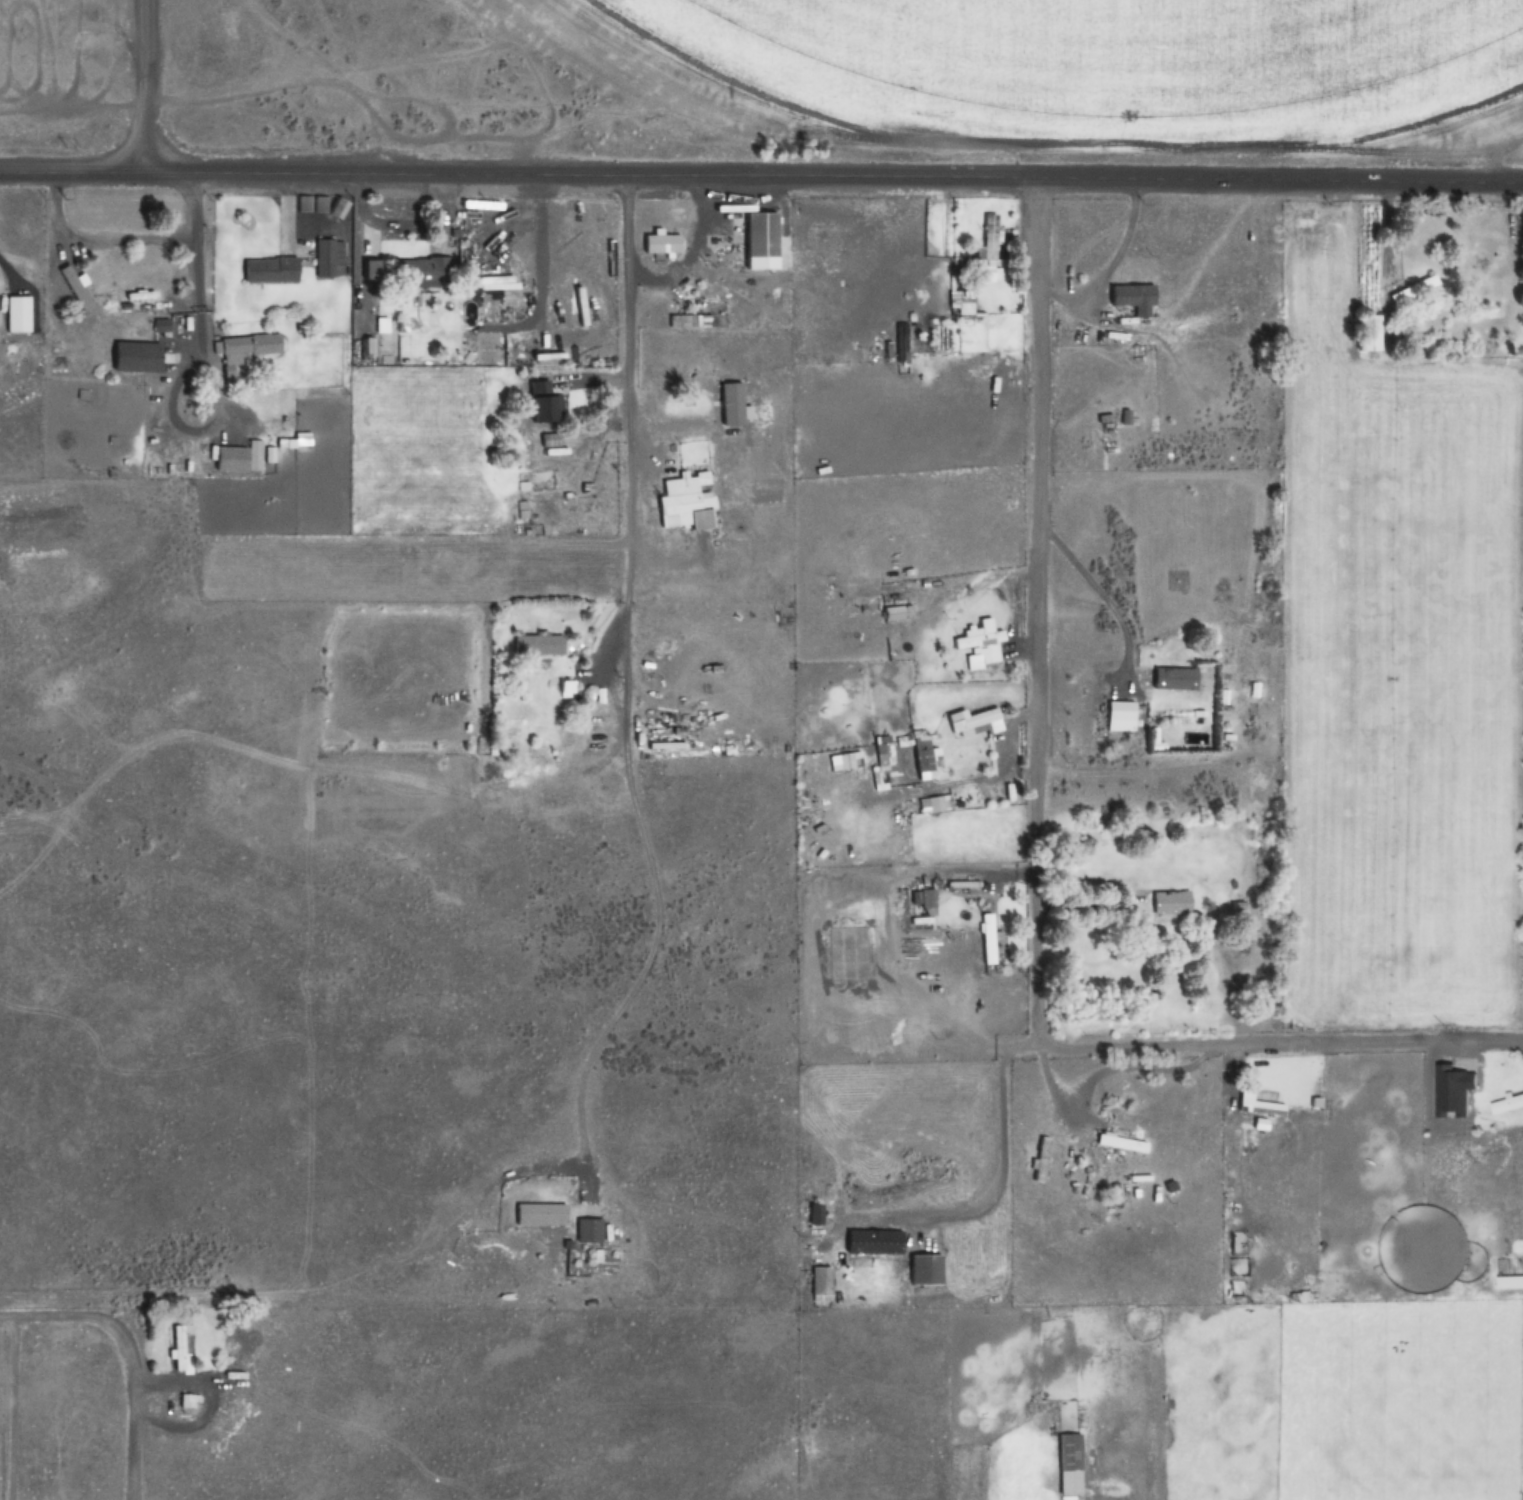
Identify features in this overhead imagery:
crop: (923, 23)
road: (145, 87)
road: (73, 174)
road: (834, 179)
building: (319, 204)
building: (990, 236)
building: (759, 240)
building: (65, 241)
building: (661, 242)
building: (326, 255)
building: (267, 268)
building: (417, 270)
building: (985, 272)
building: (75, 287)
building: (1414, 290)
building: (1131, 295)
building: (17, 313)
building: (158, 324)
road: (626, 326)
building: (1367, 333)
building: (381, 338)
building: (247, 344)
building: (543, 408)
building: (240, 458)
building: (685, 502)
building: (897, 613)
road: (1038, 614)
building: (982, 644)
building: (539, 645)
building: (1175, 679)
building: (1121, 717)
building: (974, 723)
building: (885, 755)
building: (924, 758)
building: (929, 902)
building: (1172, 902)
building: (989, 938)
road: (1280, 1043)
building: (1507, 1105)
building: (1262, 1107)
building: (1123, 1144)
building: (1041, 1159)
building: (541, 1214)
building: (815, 1214)
building: (589, 1230)
building: (870, 1257)
building: (925, 1269)
building: (822, 1284)
building: (183, 1347)
road: (126, 1352)
building: (1069, 1463)

